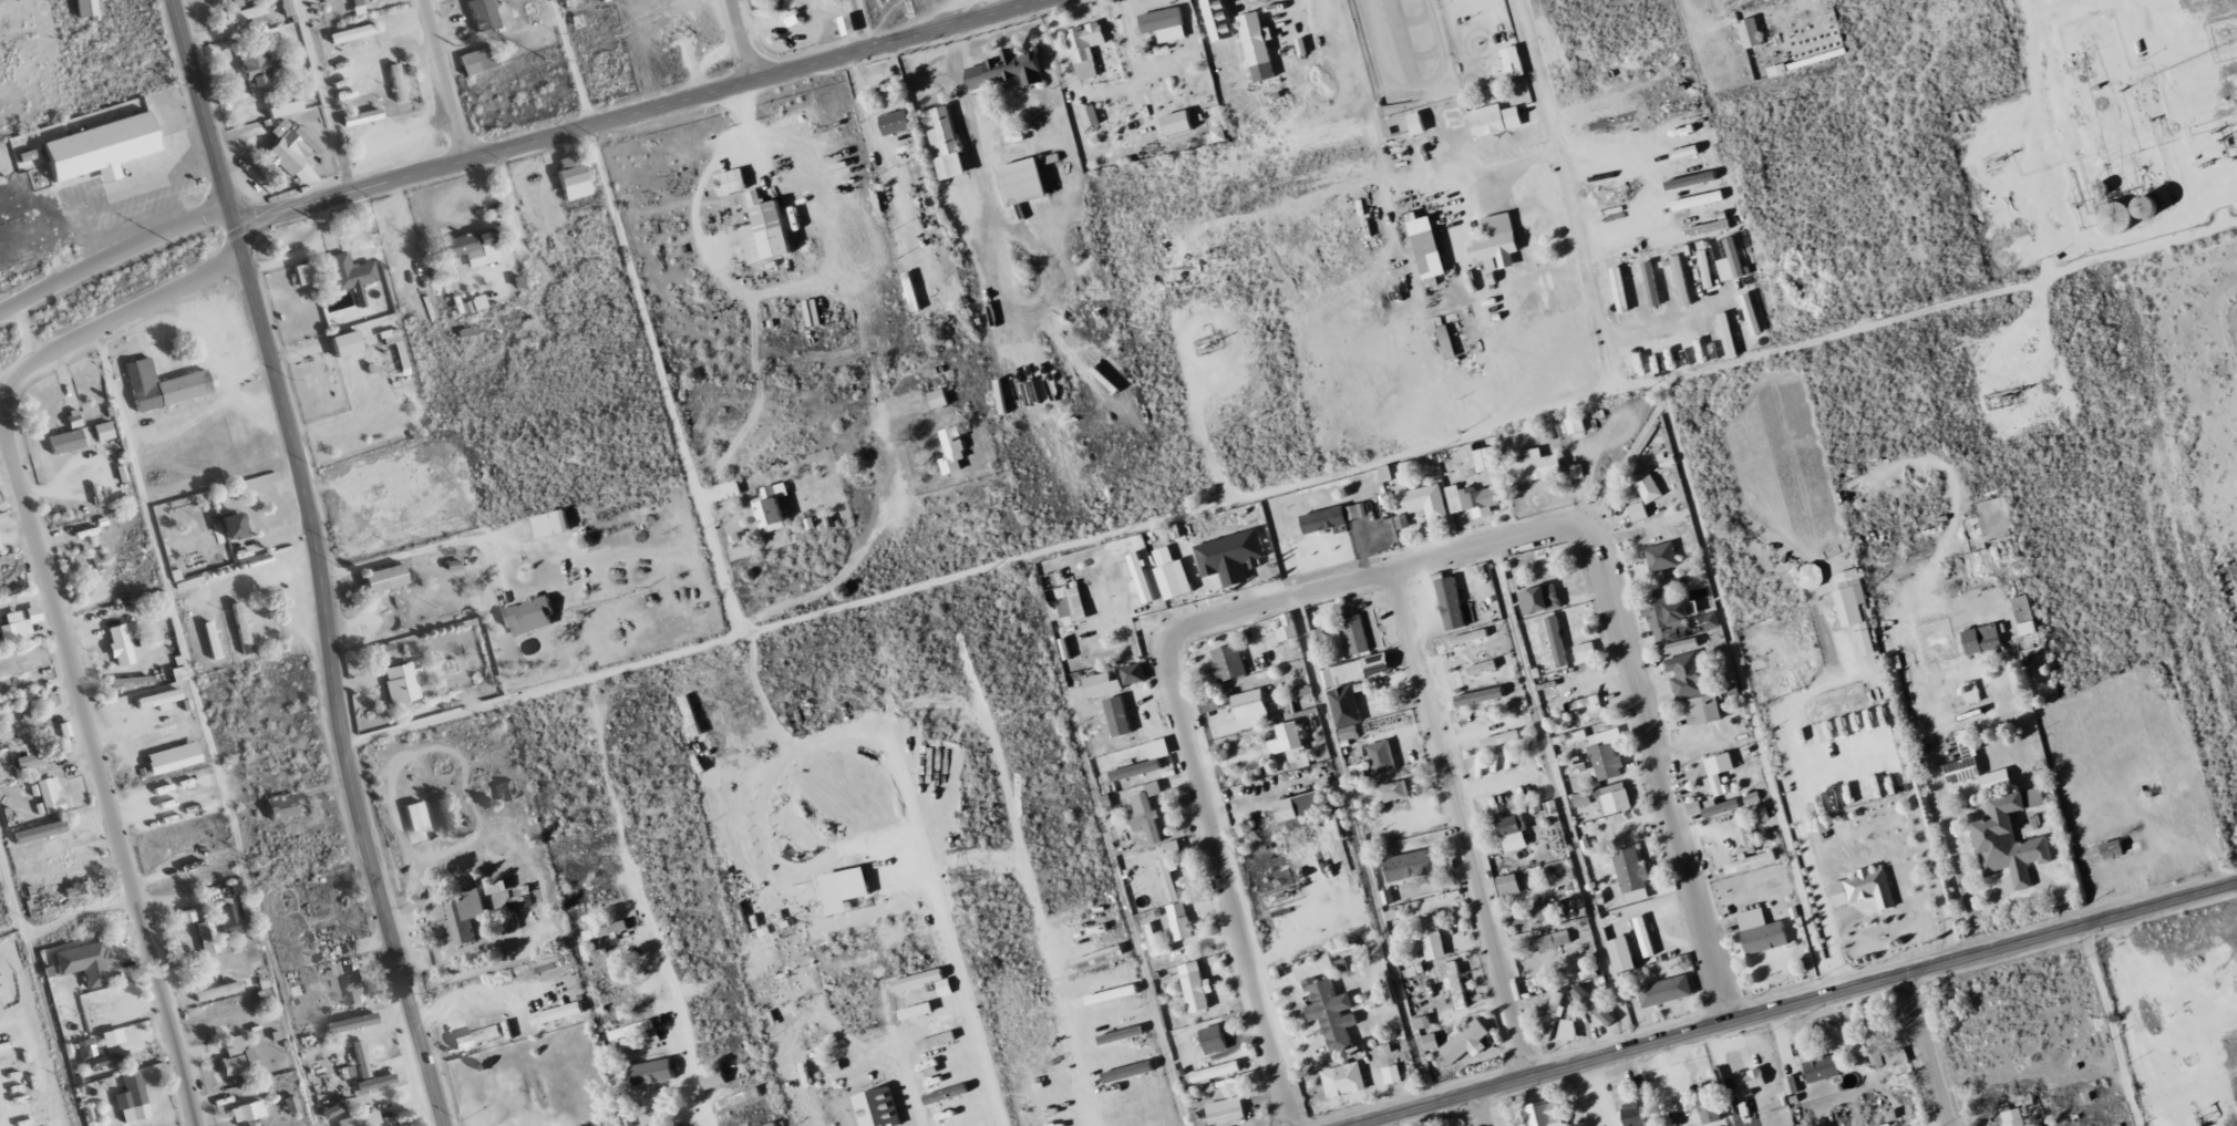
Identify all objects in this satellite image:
building: (360, 2)
road: (1024, 2)
building: (85, 9)
building: (243, 14)
building: (483, 14)
building: (793, 18)
building: (1219, 20)
building: (1165, 24)
building: (849, 25)
building: (268, 33)
building: (352, 33)
building: (1752, 33)
road: (742, 40)
building: (1258, 47)
building: (1086, 49)
building: (477, 61)
building: (1514, 62)
building: (259, 69)
building: (1009, 70)
road: (445, 80)
building: (396, 83)
road: (198, 103)
building: (1162, 103)
building: (284, 109)
road: (638, 111)
building: (1091, 116)
building: (361, 117)
building: (1501, 118)
building: (897, 122)
building: (1179, 123)
building: (1418, 124)
building: (946, 143)
building: (291, 147)
building: (101, 148)
building: (1688, 152)
building: (919, 173)
building: (574, 177)
building: (1692, 180)
building: (732, 182)
building: (1025, 183)
road: (1568, 193)
building: (1699, 200)
road: (229, 216)
building: (1709, 228)
building: (767, 231)
building: (1498, 244)
building: (1427, 246)
building: (473, 248)
road: (111, 256)
building: (1732, 266)
building: (1707, 272)
building: (303, 273)
building: (351, 275)
building: (1682, 281)
building: (1651, 285)
building: (1621, 290)
building: (477, 302)
building: (1752, 314)
building: (1729, 335)
building: (346, 342)
building: (1447, 342)
building: (1107, 376)
building: (165, 385)
building: (940, 399)
road: (1486, 424)
building: (1577, 424)
building: (103, 431)
building: (65, 441)
building: (953, 450)
building: (1487, 459)
building: (1536, 466)
building: (1576, 471)
building: (1386, 473)
building: (1648, 486)
building: (731, 489)
building: (1473, 499)
building: (1422, 502)
building: (772, 508)
building: (1358, 510)
building: (1640, 512)
building: (1326, 519)
building: (1402, 521)
building: (553, 524)
building: (234, 526)
building: (0, 549)
building: (1233, 557)
building: (1662, 557)
building: (453, 565)
road: (1375, 572)
road: (720, 574)
building: (1173, 575)
building: (1812, 576)
building: (385, 578)
building: (1142, 578)
building: (1540, 599)
building: (1452, 603)
building: (1068, 605)
building: (1854, 608)
building: (2022, 608)
building: (528, 616)
building: (1667, 617)
building: (1712, 620)
road: (58, 628)
building: (243, 628)
building: (1288, 628)
building: (14, 631)
building: (2031, 631)
building: (1355, 634)
building: (1470, 637)
building: (1983, 639)
building: (212, 640)
building: (1557, 641)
building: (120, 644)
building: (385, 650)
building: (1586, 652)
building: (1229, 662)
building: (1483, 668)
building: (1355, 670)
building: (1135, 673)
building: (1689, 674)
road: (331, 676)
building: (1907, 678)
building: (401, 682)
building: (1104, 684)
building: (1972, 692)
building: (1481, 695)
building: (19, 698)
building: (1212, 702)
building: (1588, 703)
building: (1346, 706)
building: (1252, 709)
building: (1705, 710)
building: (1120, 716)
building: (1349, 732)
building: (1502, 738)
building: (1291, 745)
building: (1606, 753)
building: (1382, 756)
building: (173, 757)
building: (28, 760)
building: (1965, 760)
building: (1580, 764)
road: (1662, 767)
building: (1137, 769)
building: (1360, 773)
building: (1720, 773)
road: (1935, 777)
building: (1997, 779)
building: (1393, 792)
building: (49, 795)
building: (1615, 798)
building: (1583, 799)
building: (1302, 806)
building: (284, 807)
building: (1722, 807)
building: (1147, 813)
building: (417, 822)
road: (1460, 823)
building: (39, 831)
building: (1512, 833)
building: (2012, 839)
building: (2113, 848)
building: (1752, 861)
building: (1418, 865)
building: (1171, 868)
building: (1633, 874)
road: (1226, 879)
building: (1509, 885)
building: (496, 888)
building: (1866, 888)
building: (846, 889)
building: (517, 900)
building: (436, 910)
building: (1533, 913)
building: (187, 915)
building: (467, 917)
building: (228, 919)
building: (1181, 921)
building: (612, 927)
building: (1762, 932)
building: (509, 936)
building: (207, 937)
building: (1646, 937)
building: (1433, 938)
road: (1045, 939)
building: (1553, 940)
building: (1099, 958)
building: (83, 962)
building: (1455, 983)
building: (1197, 988)
building: (216, 991)
building: (1667, 991)
road: (1792, 1003)
building: (1329, 1004)
building: (1592, 1004)
building: (558, 1012)
building: (1555, 1014)
road: (670, 1016)
building: (351, 1022)
building: (1568, 1030)
building: (638, 1031)
building: (1121, 1035)
building: (477, 1036)
building: (1215, 1039)
building: (938, 1040)
building: (1432, 1041)
building: (1873, 1041)
building: (1467, 1042)
road: (1928, 1048)
building: (94, 1054)
building: (237, 1056)
building: (1896, 1056)
building: (360, 1058)
building: (1824, 1067)
building: (653, 1072)
building: (1216, 1072)
building: (1392, 1074)
building: (714, 1077)
building: (1344, 1079)
building: (1752, 1081)
building: (374, 1082)
building: (131, 1091)
building: (740, 1098)
building: (1709, 1104)
building: (878, 1108)
road: (1481, 1108)
building: (331, 1109)
building: (247, 1112)
building: (1226, 1112)
building: (1544, 1114)
building: (1635, 1114)
road: (1, 1116)
building: (2008, 1117)
building: (360, 1119)
building: (772, 1124)
building: (1583, 1124)

